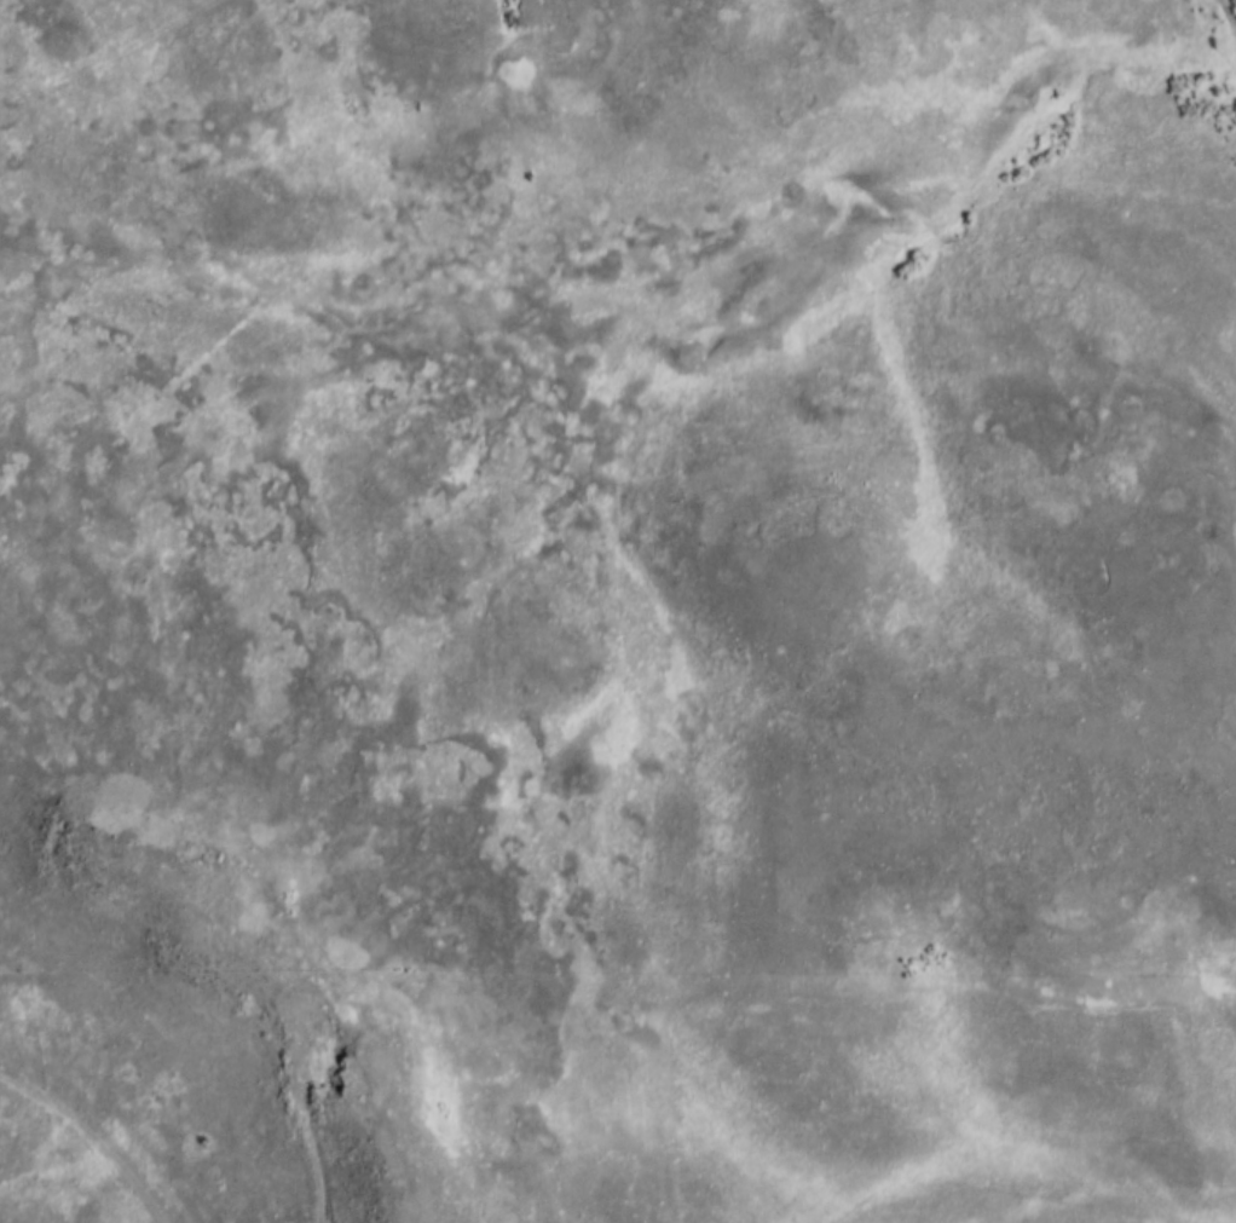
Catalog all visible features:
road: (446, 0)
road: (115, 54)
road: (92, 1140)

